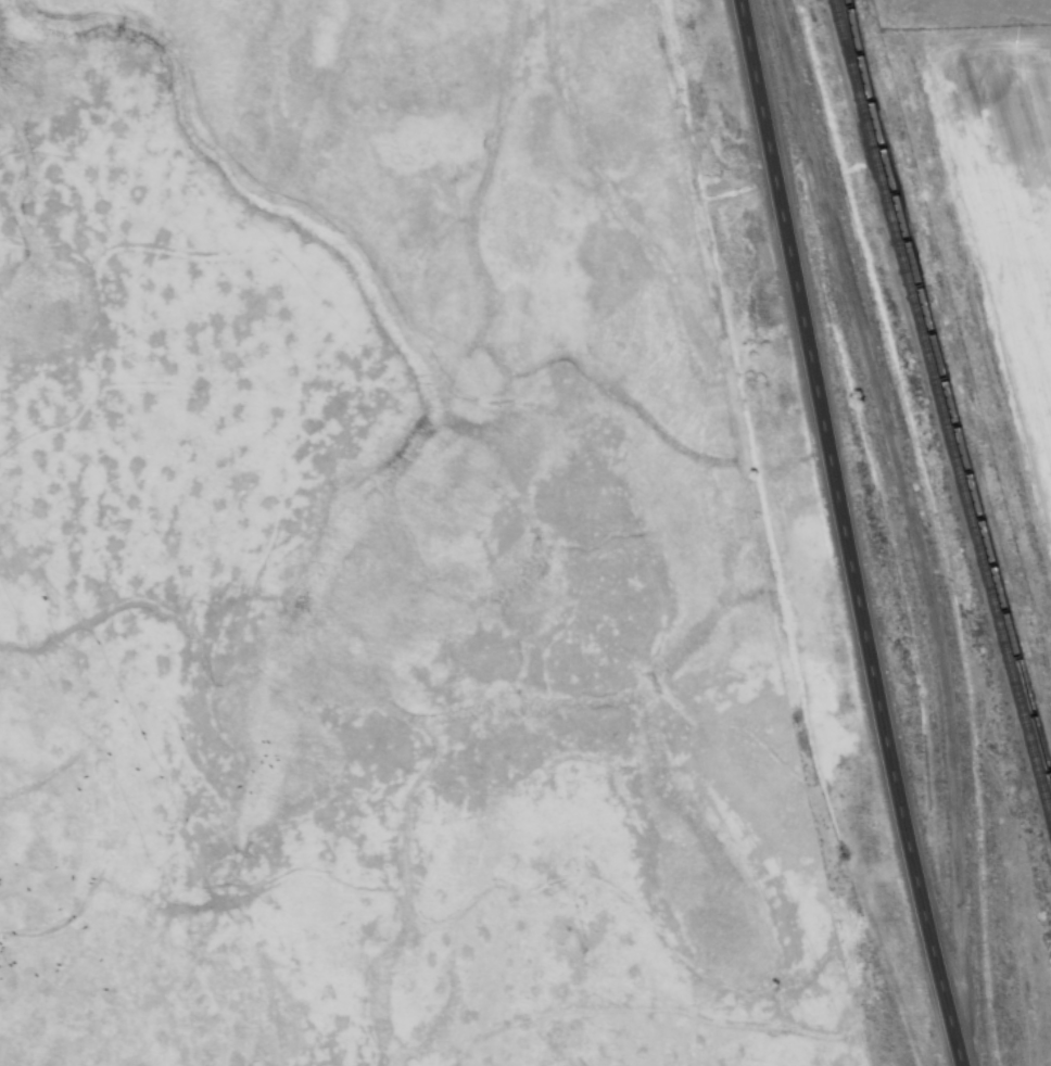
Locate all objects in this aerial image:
railway: (949, 386)
railway: (942, 416)
road: (839, 534)

